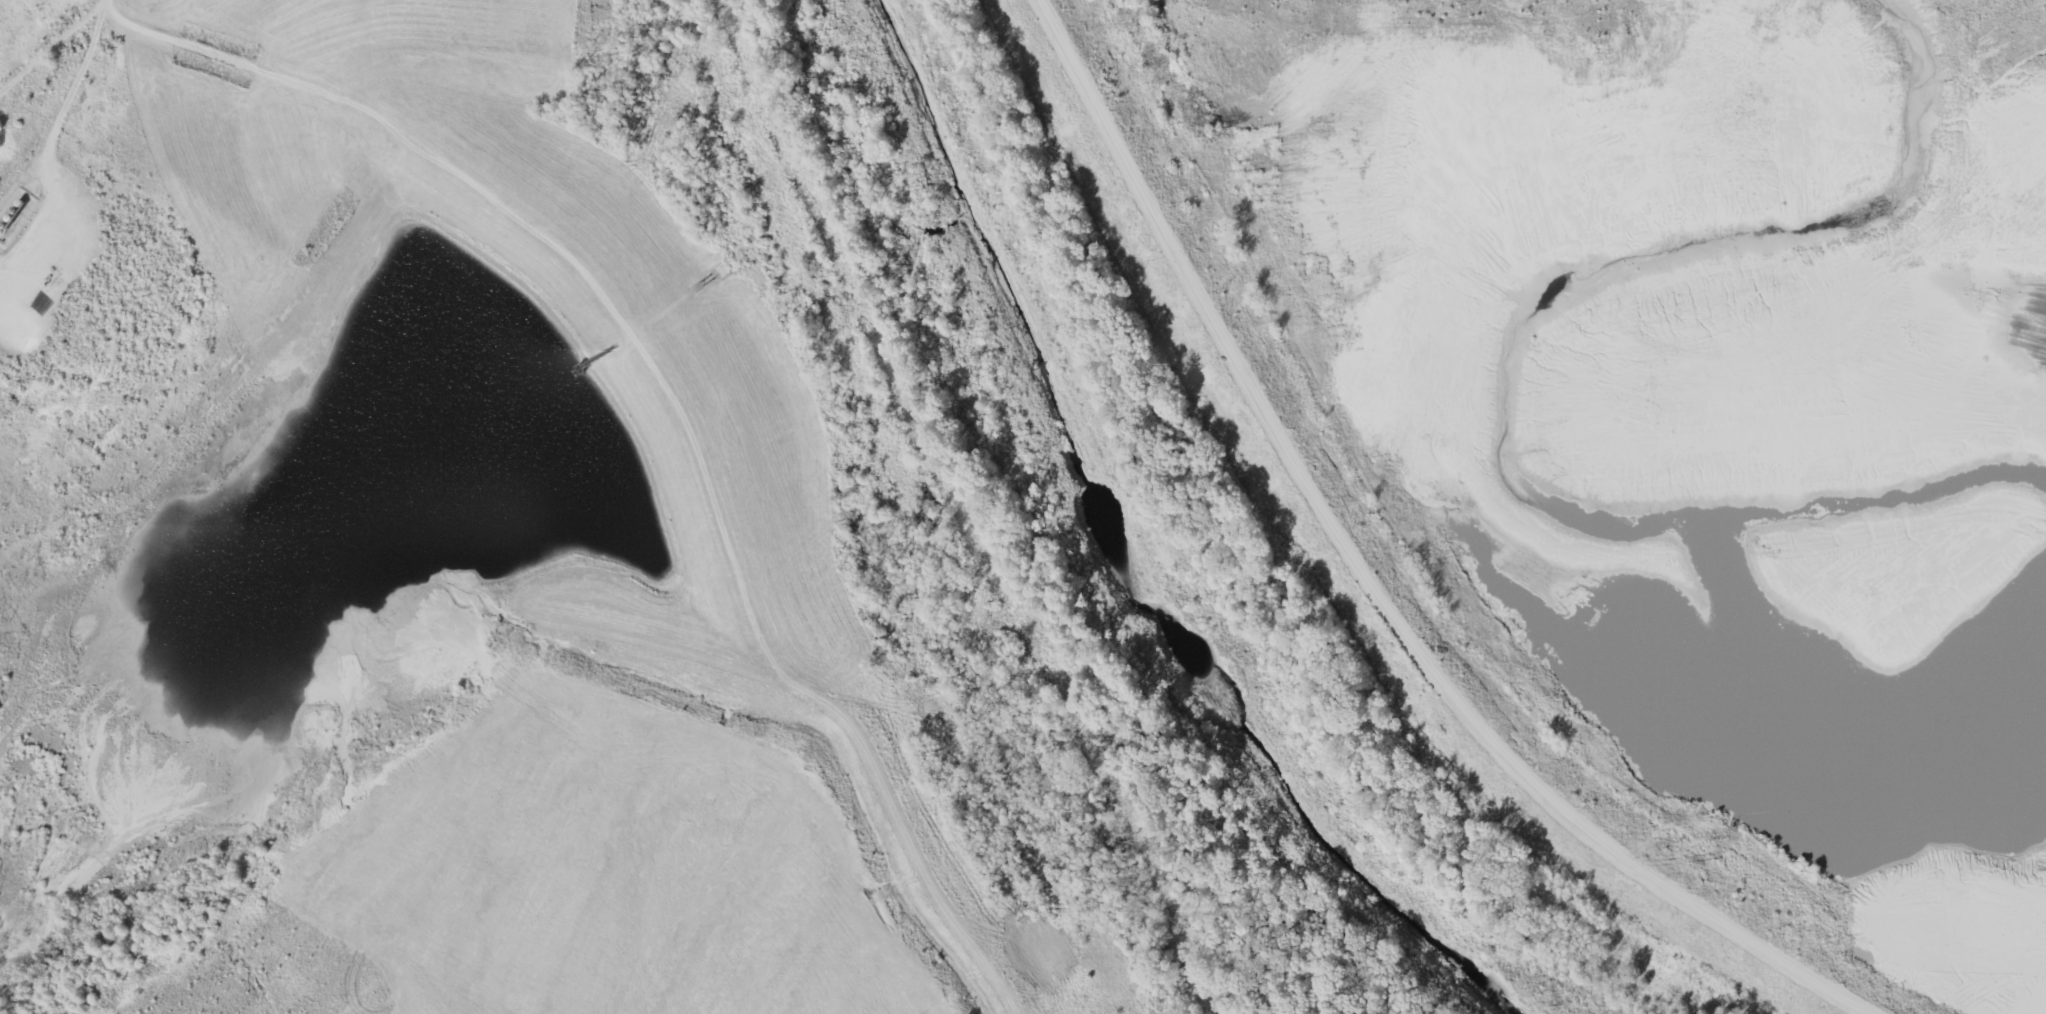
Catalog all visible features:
quarry: (1715, 382)
quarry: (583, 908)

